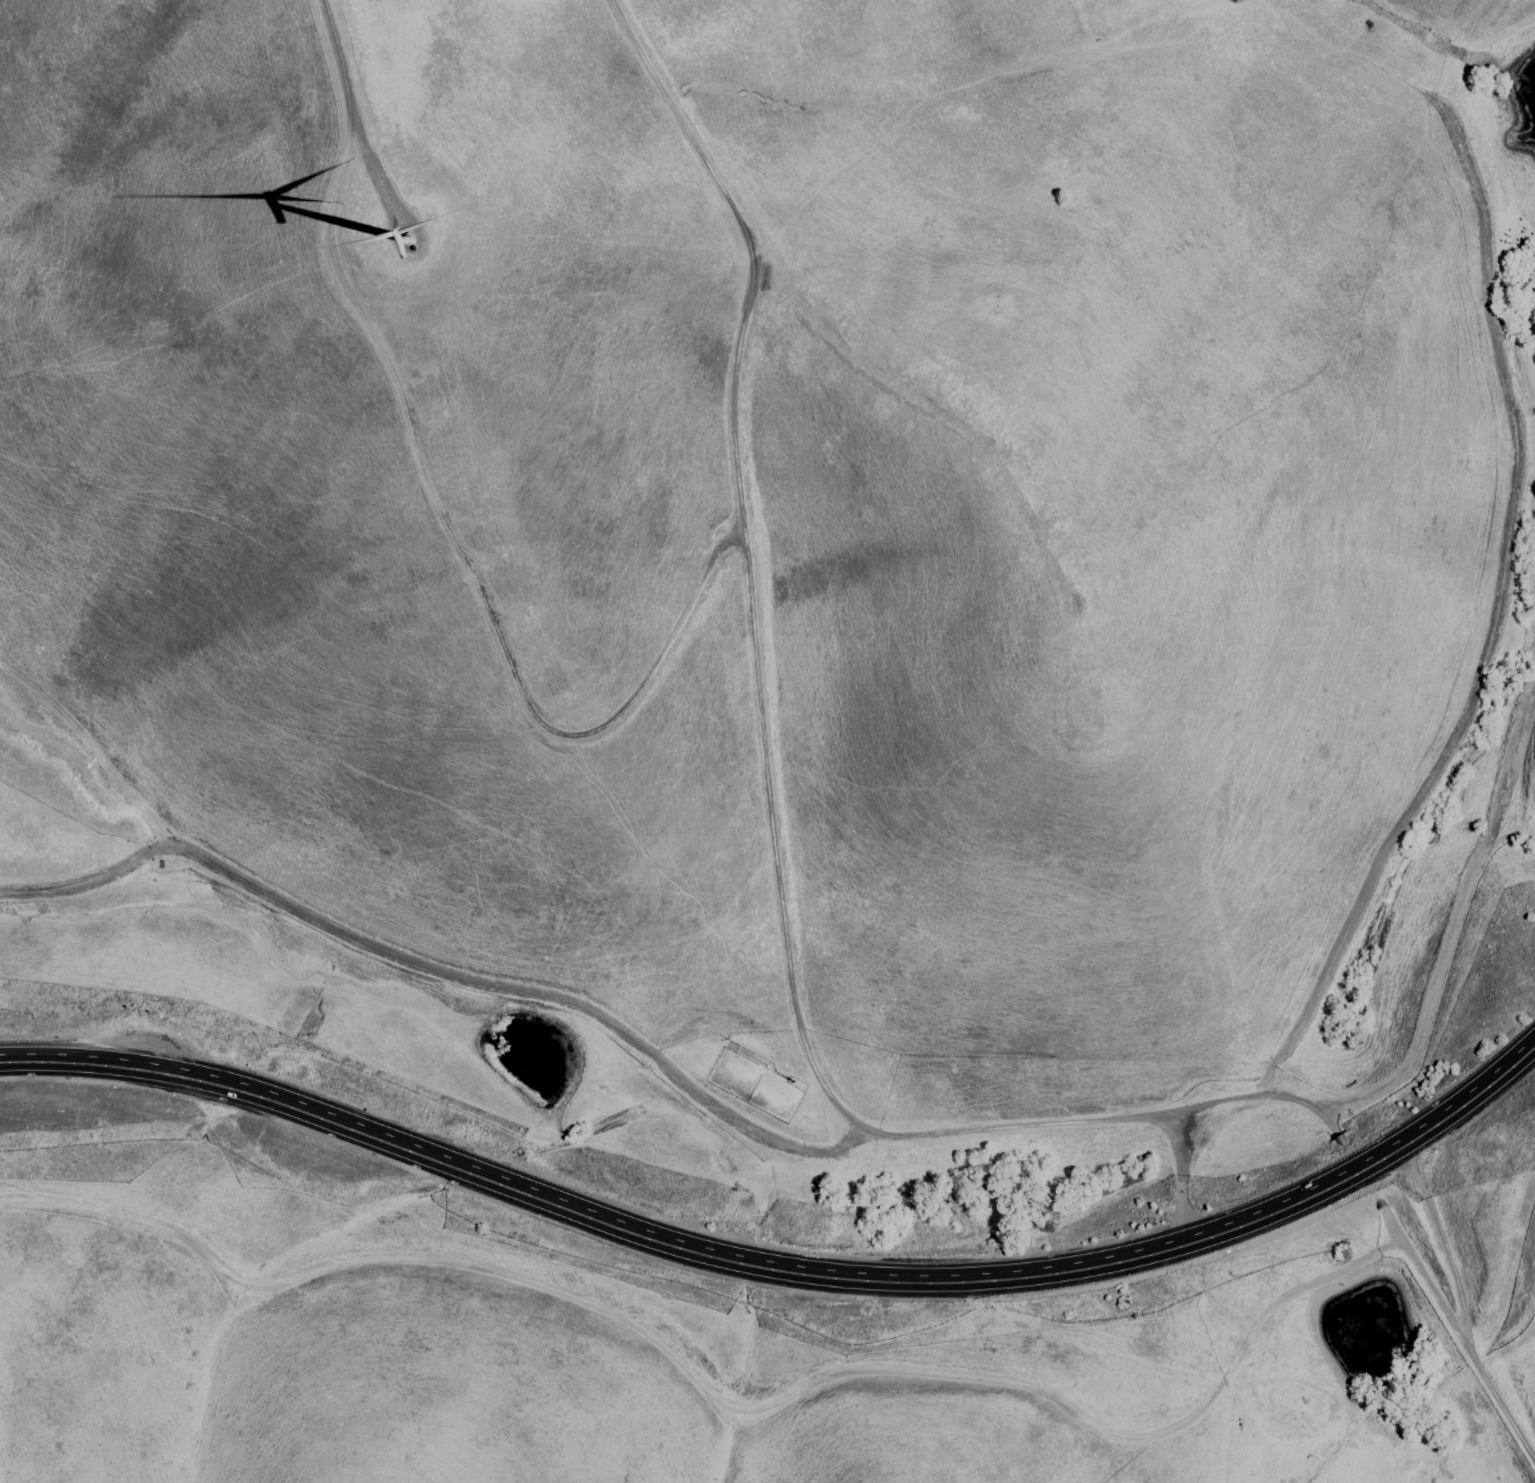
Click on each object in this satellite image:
road: (1472, 9)
wind turbine: (408, 236)
road: (992, 468)
road: (440, 524)
road: (763, 752)
road: (440, 981)
road: (1291, 1112)
road: (1173, 1178)
road: (1429, 1248)
road: (783, 1271)
wastewater plant: (1369, 1332)
road: (1450, 1349)
road: (710, 1400)

